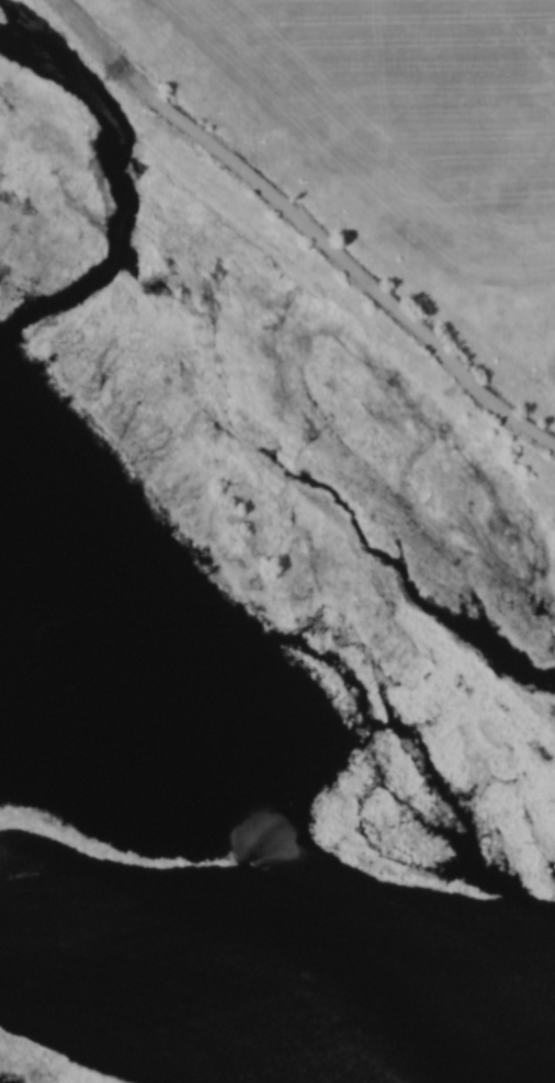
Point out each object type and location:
river: (238, 979)

